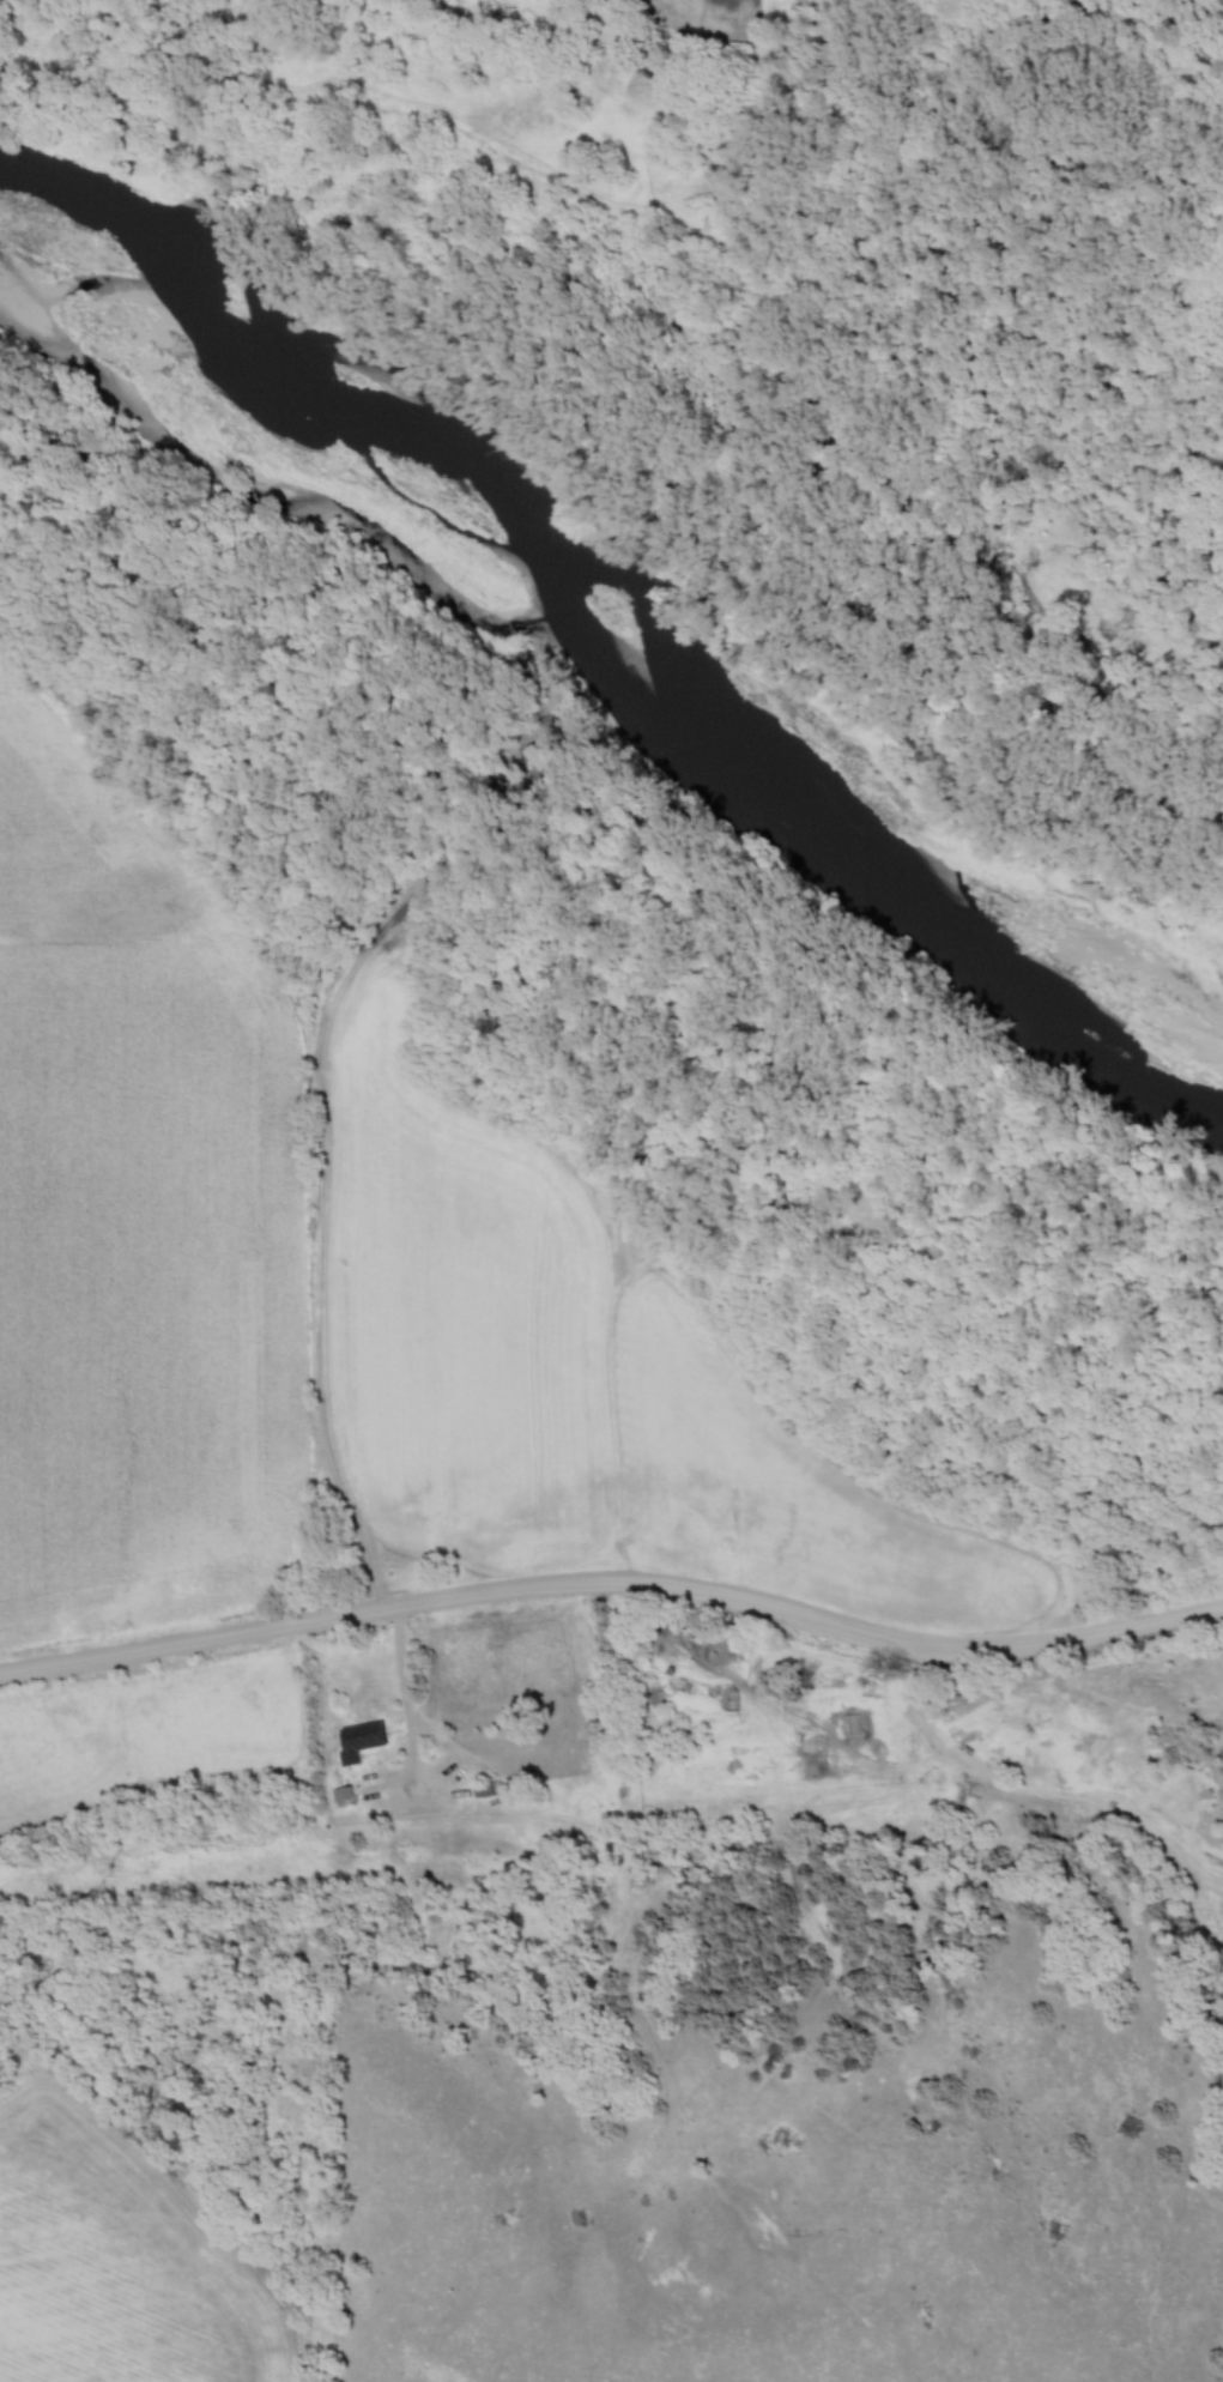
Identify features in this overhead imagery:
crop: (716, 10)
river: (618, 657)
road: (614, 1586)
building: (632, 1657)
road: (405, 1695)
building: (362, 1740)
building: (484, 1788)
building: (343, 1794)

